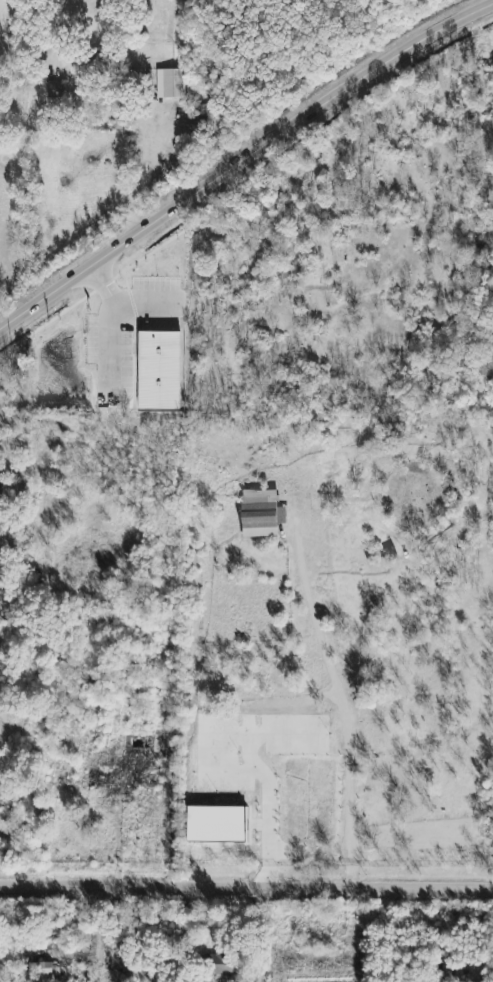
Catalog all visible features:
building: (168, 82)
building: (53, 87)
road: (243, 161)
building: (261, 513)
road: (343, 707)
building: (218, 825)
road: (246, 888)
road: (265, 935)
building: (228, 964)
building: (40, 968)

